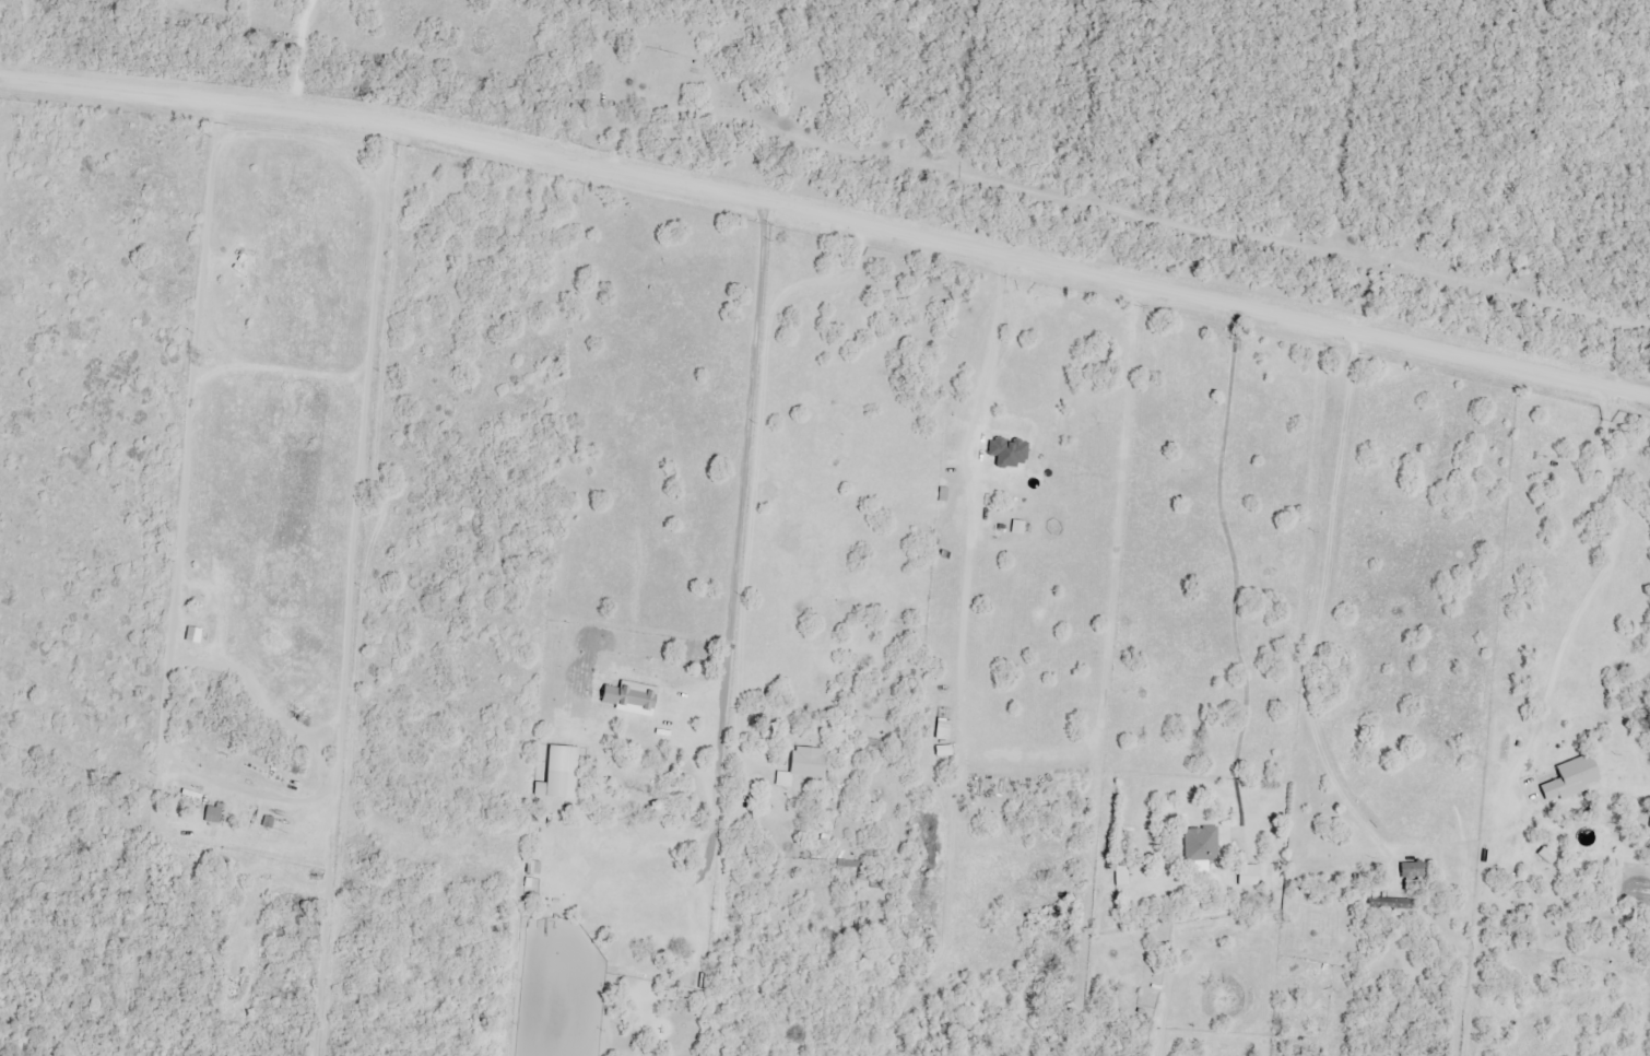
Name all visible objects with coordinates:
road: (828, 219)
building: (868, 750)
building: (804, 766)
building: (627, 777)
building: (1571, 779)
building: (561, 786)
building: (989, 786)
building: (212, 816)
building: (1201, 846)
building: (1412, 871)
building: (1247, 876)
building: (1391, 905)

